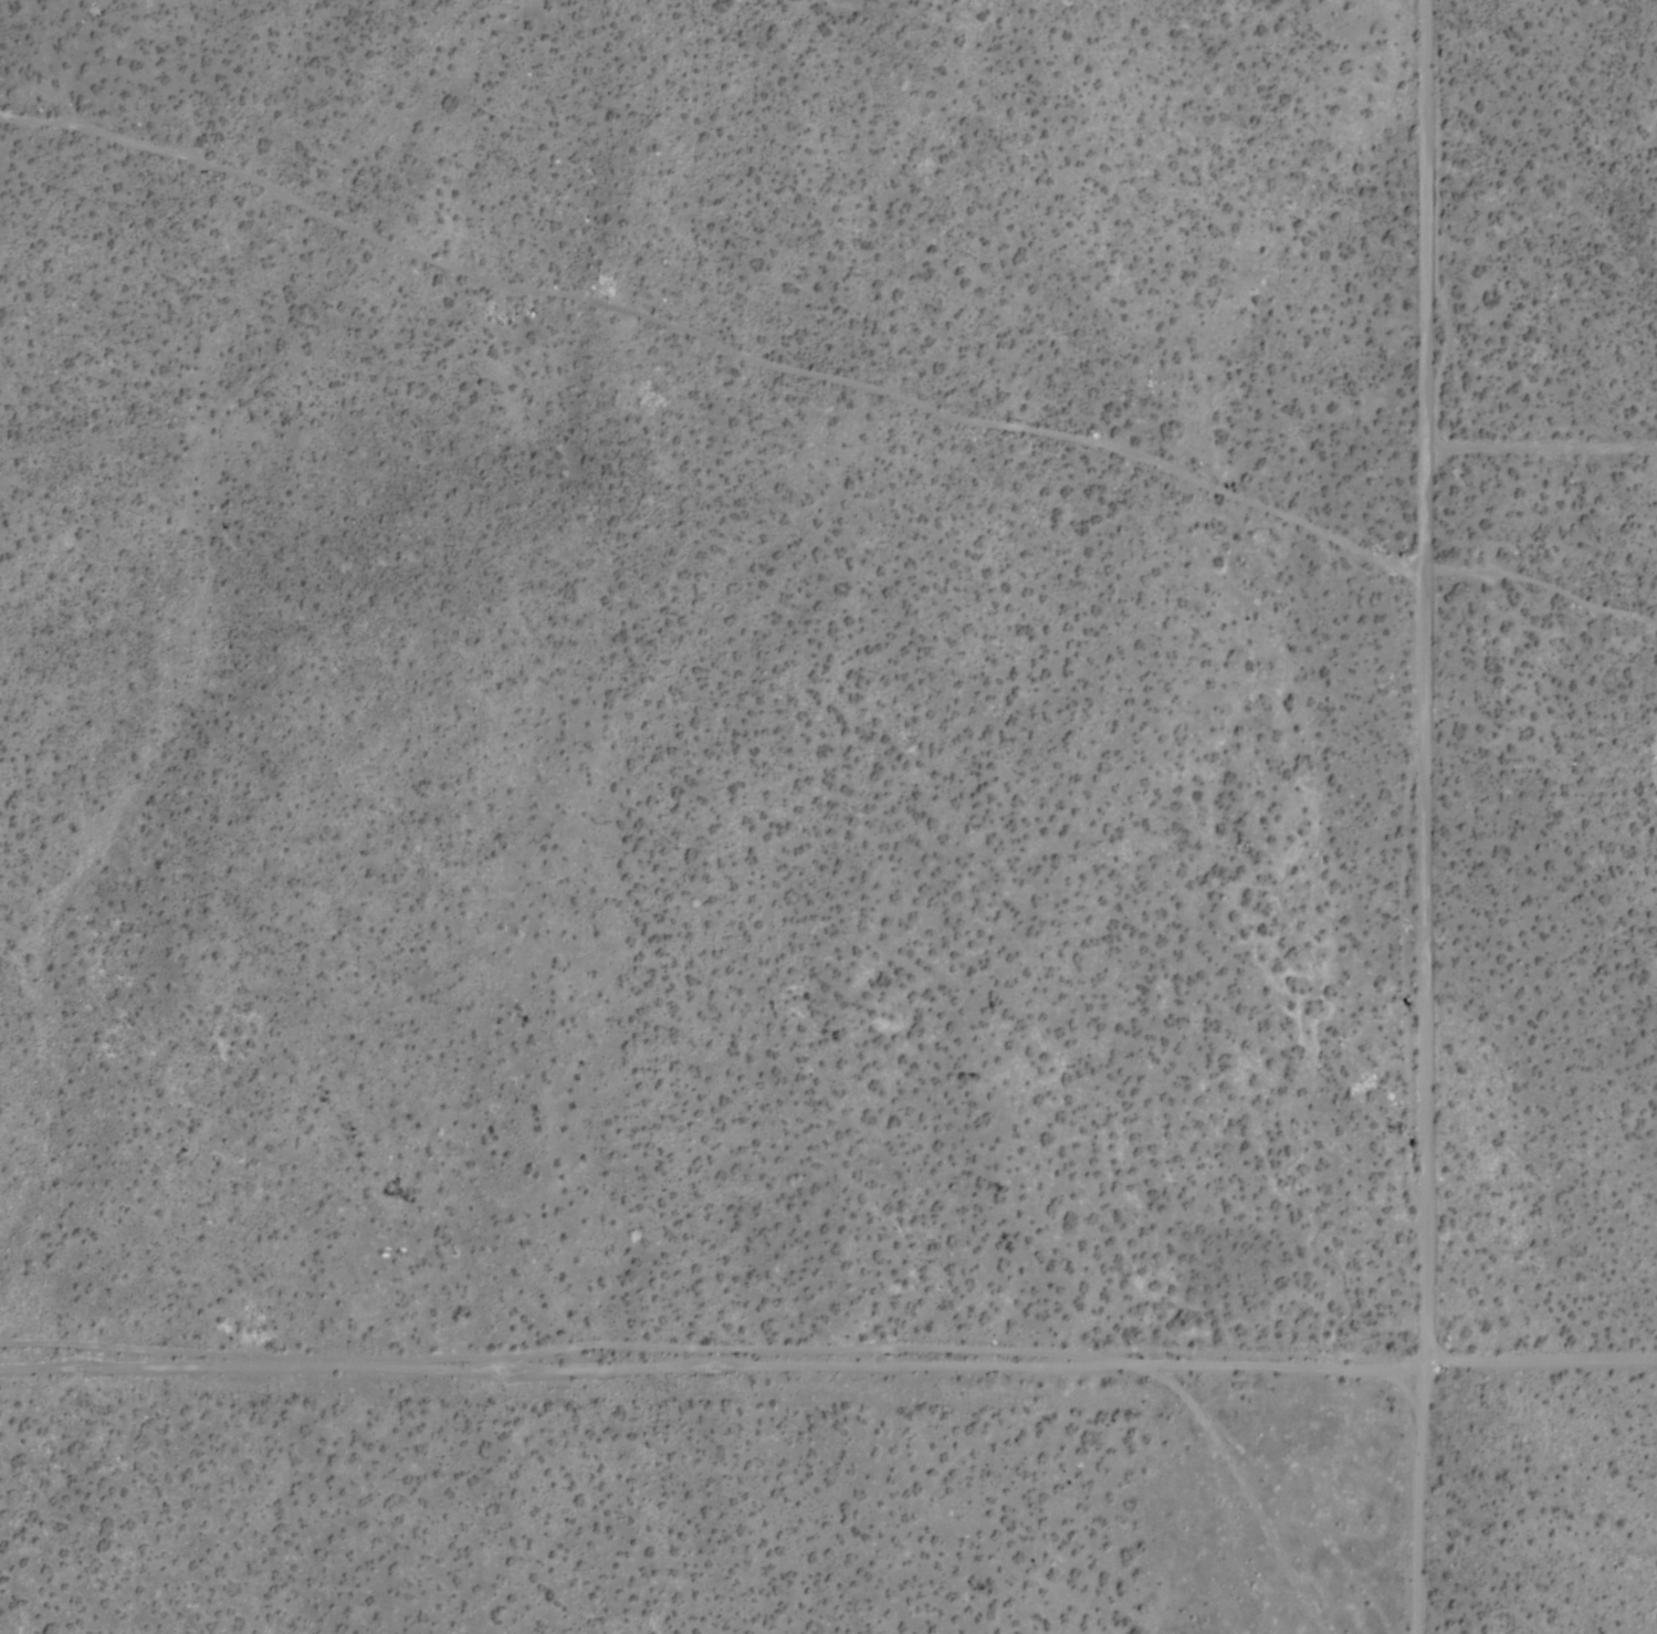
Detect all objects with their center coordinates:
road: (1435, 302)
road: (725, 333)
road: (1431, 1118)
road: (710, 1361)
road: (1539, 1362)

